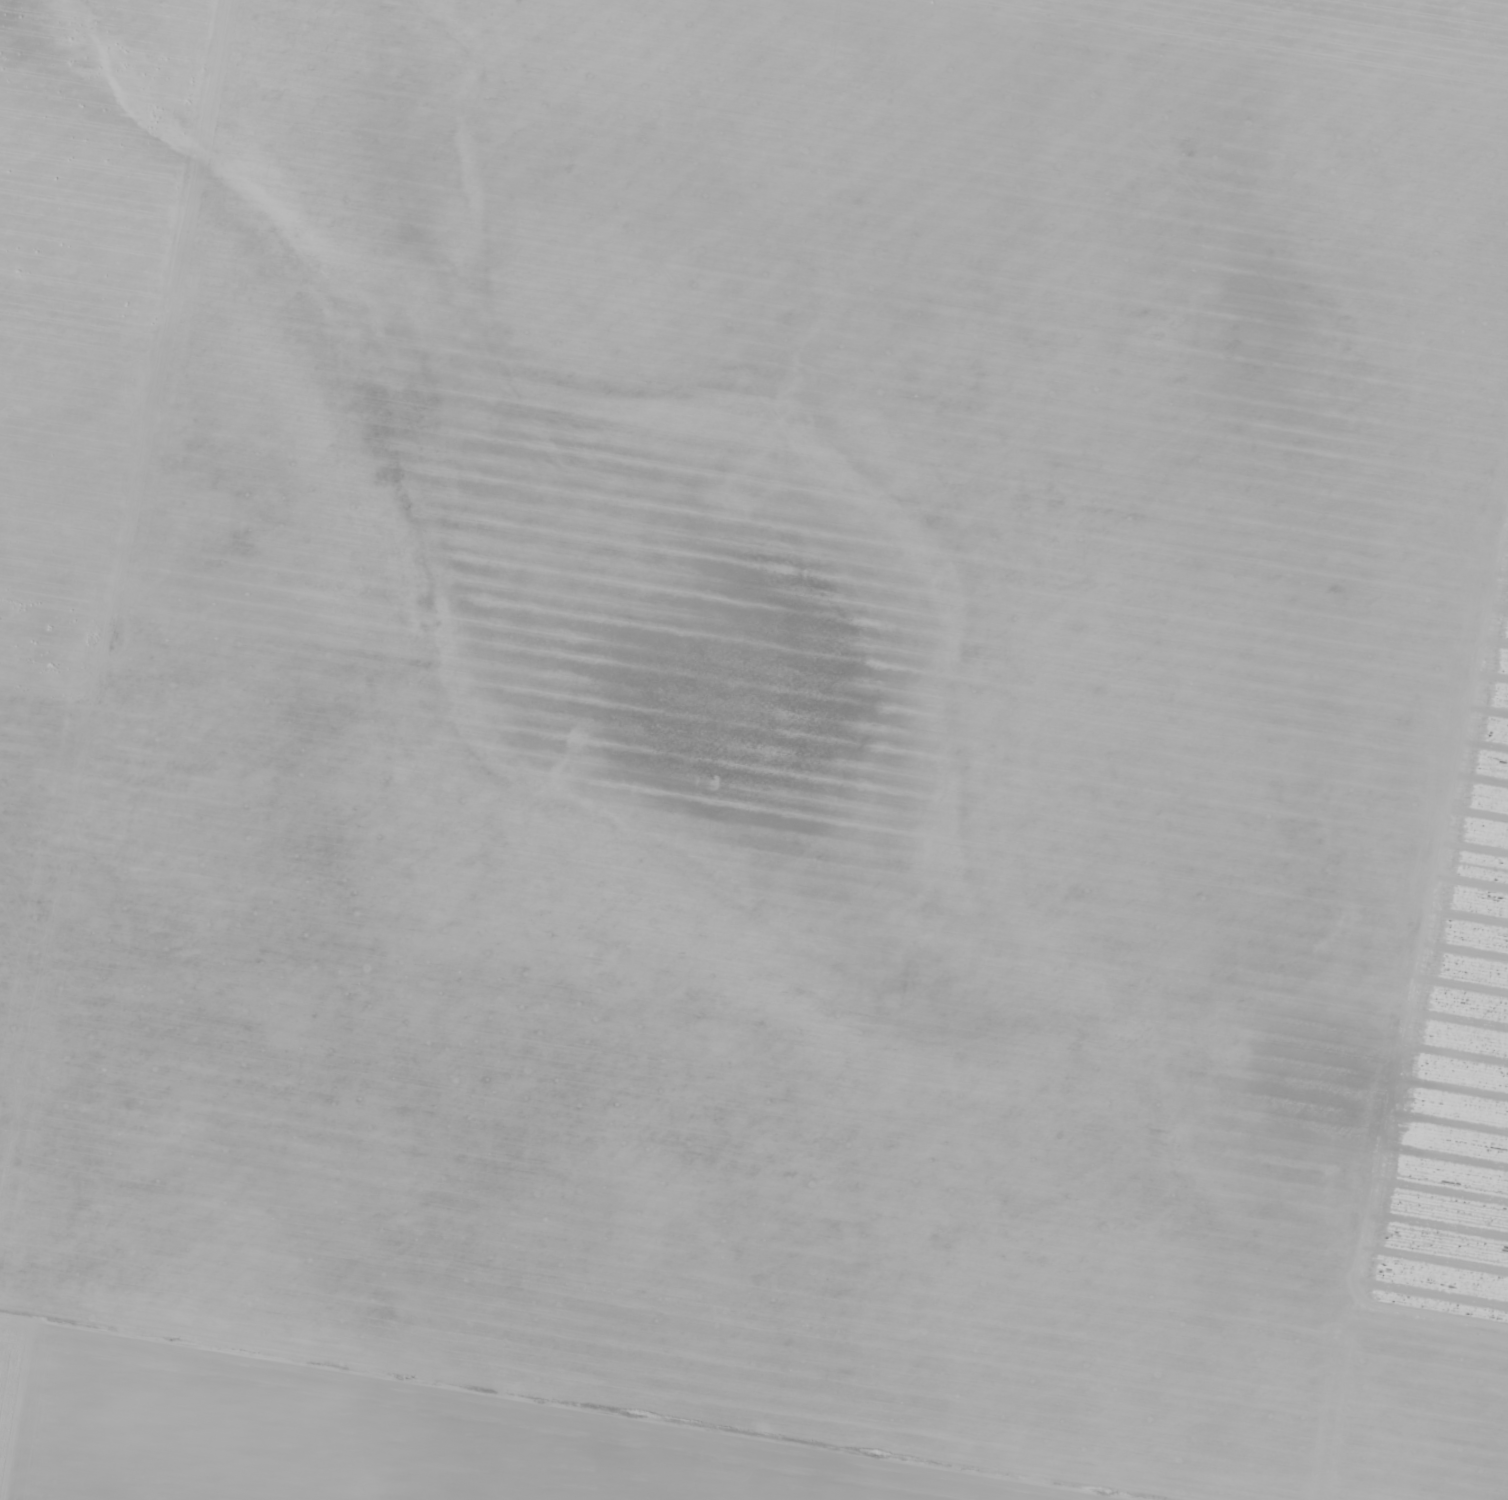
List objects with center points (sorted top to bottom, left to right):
road: (612, 1397)

